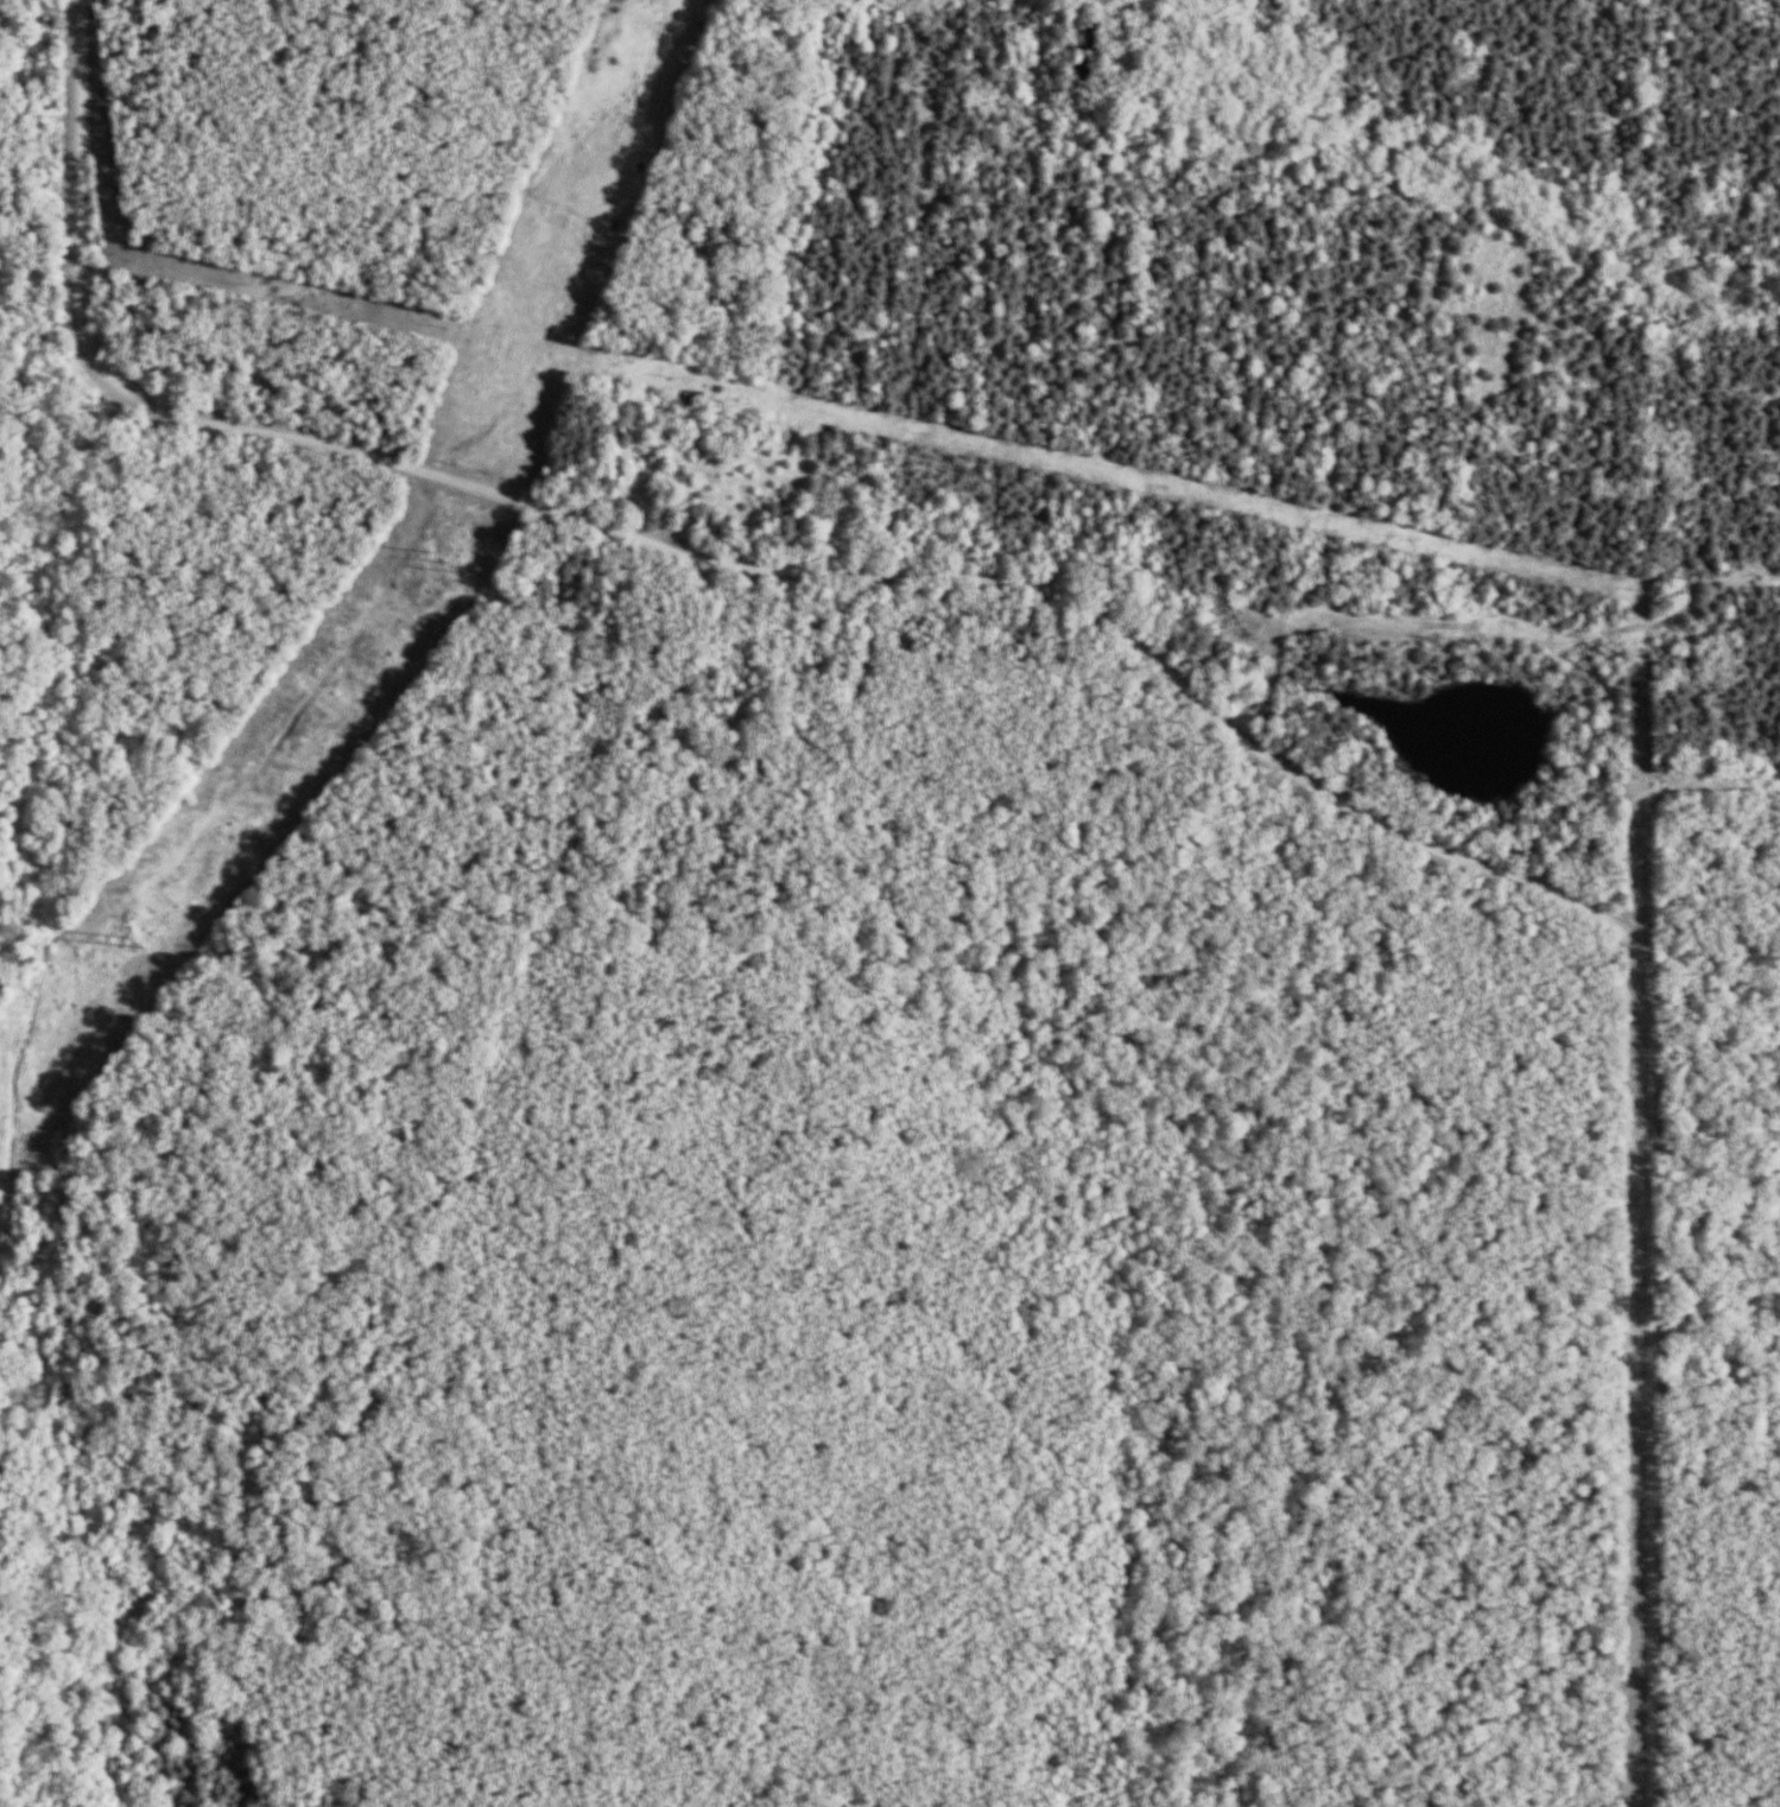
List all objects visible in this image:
building: (686, 401)
building: (688, 443)
power tower: (442, 556)
road: (1128, 640)
power tower: (128, 939)

